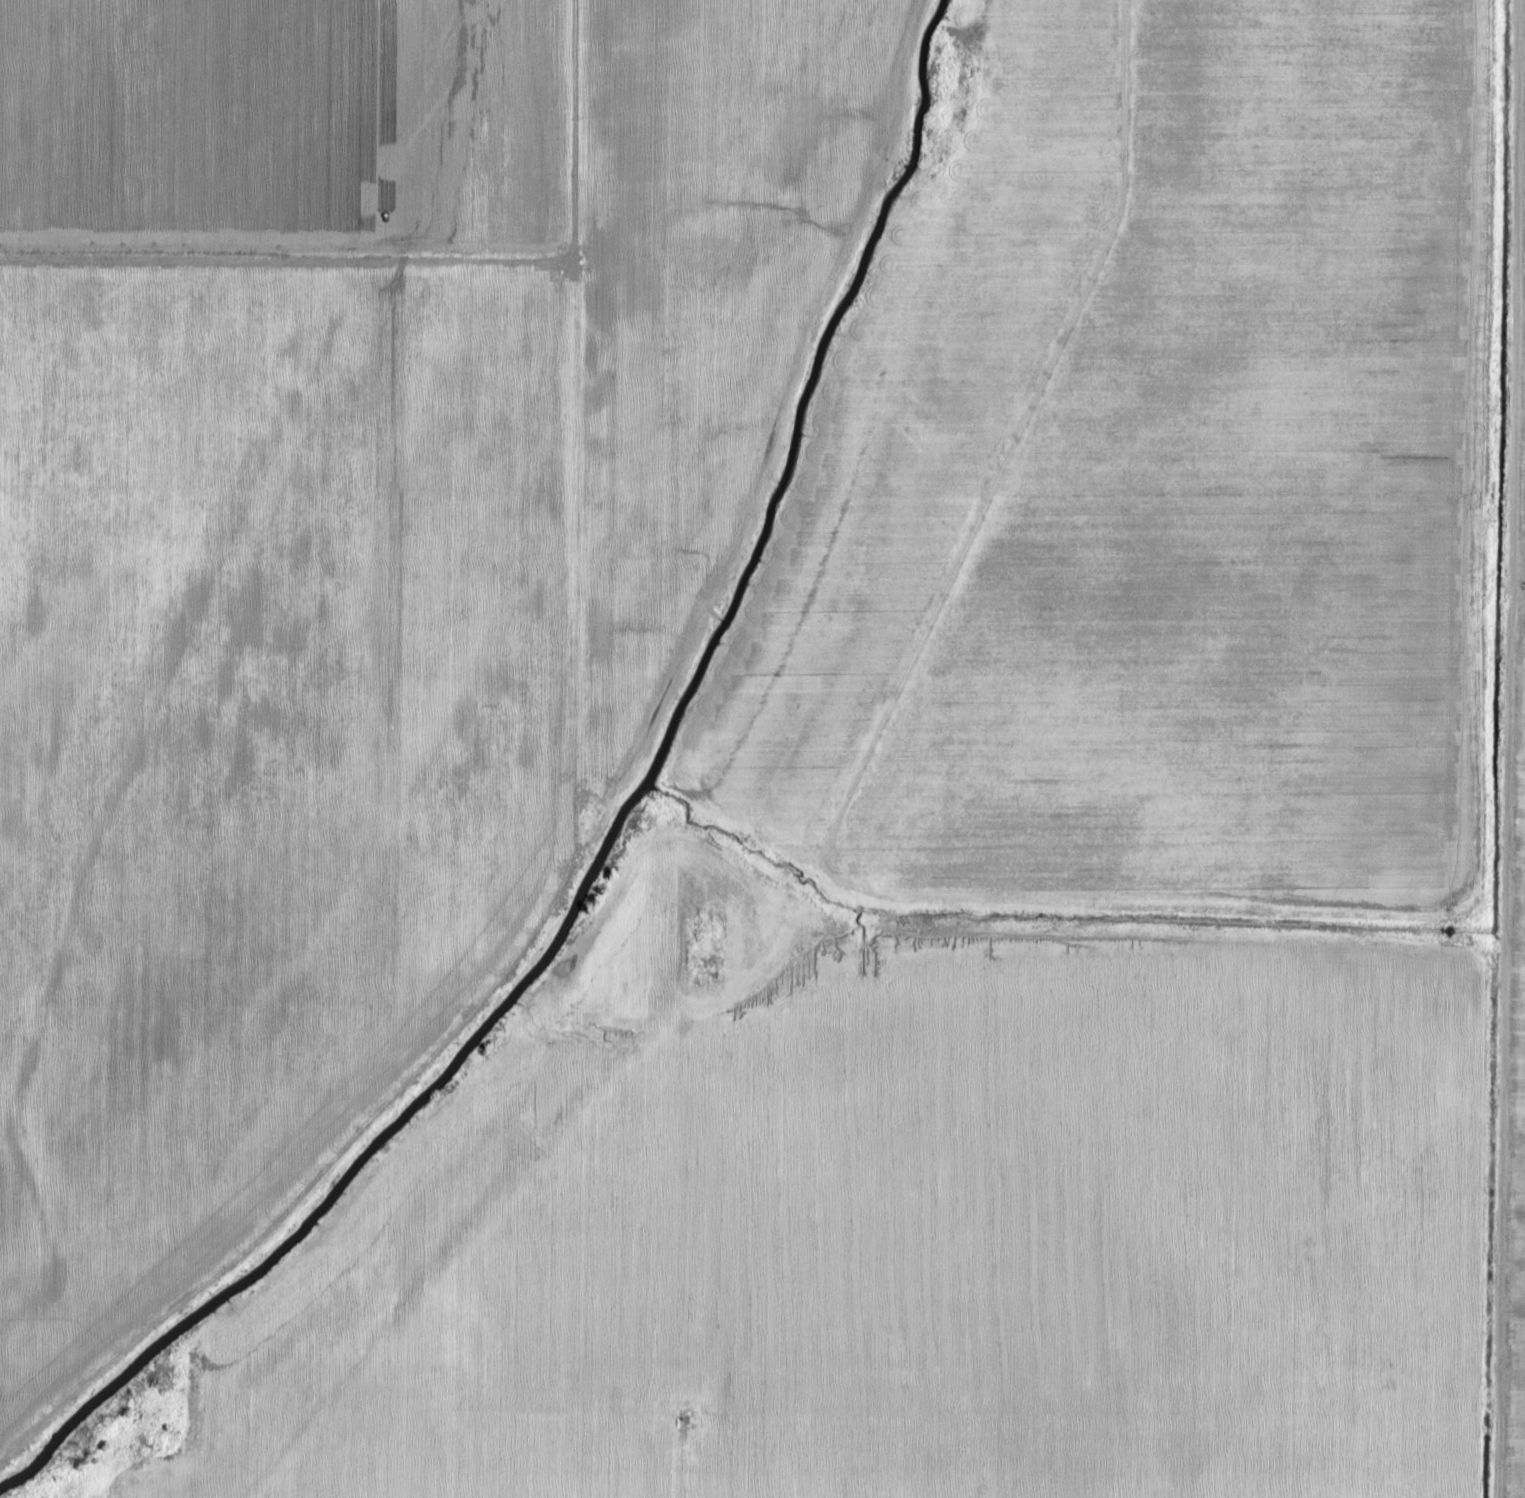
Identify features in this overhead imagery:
road: (525, 1181)

